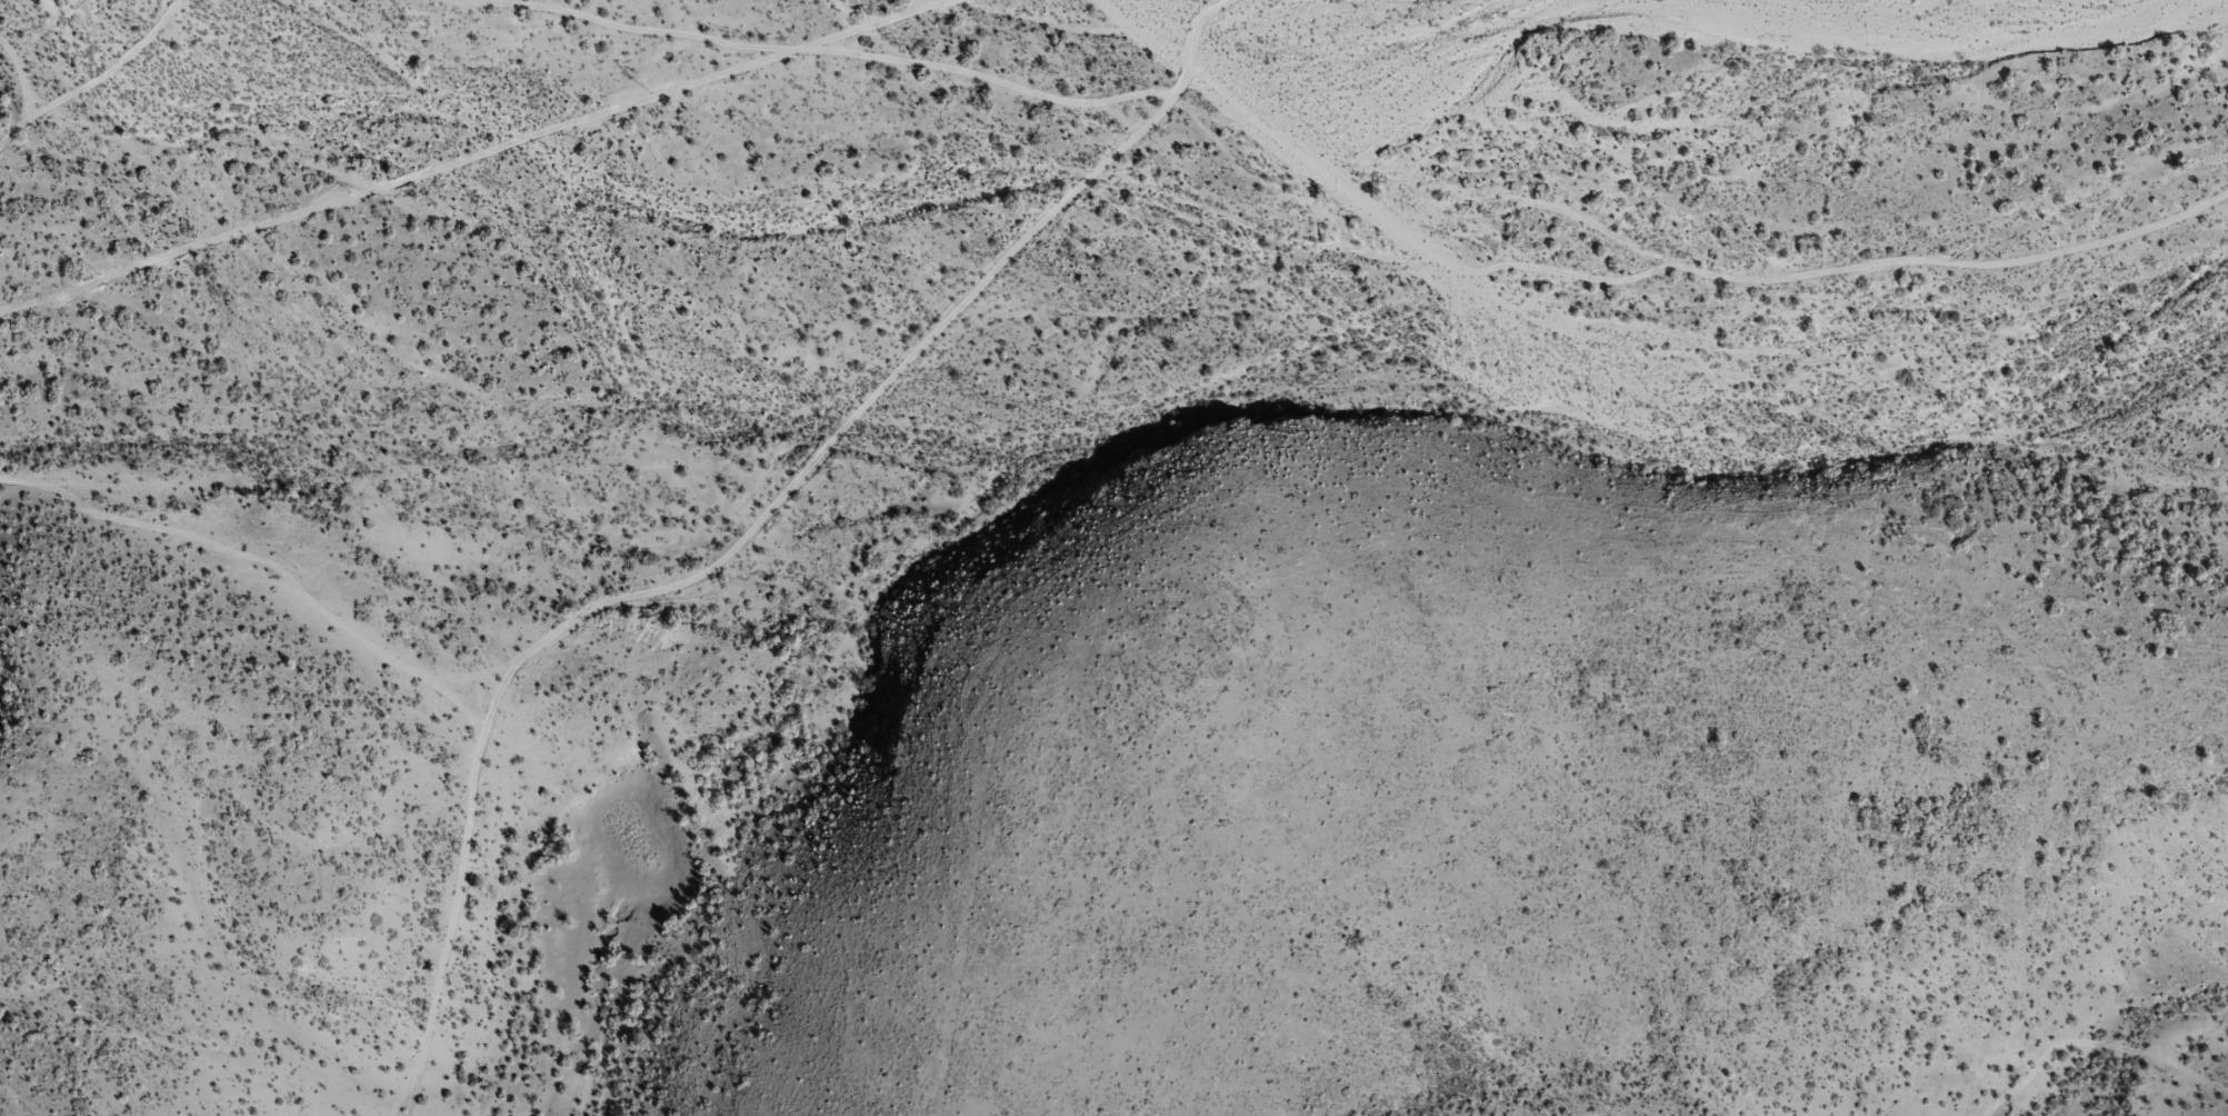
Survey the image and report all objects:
road: (91, 89)

